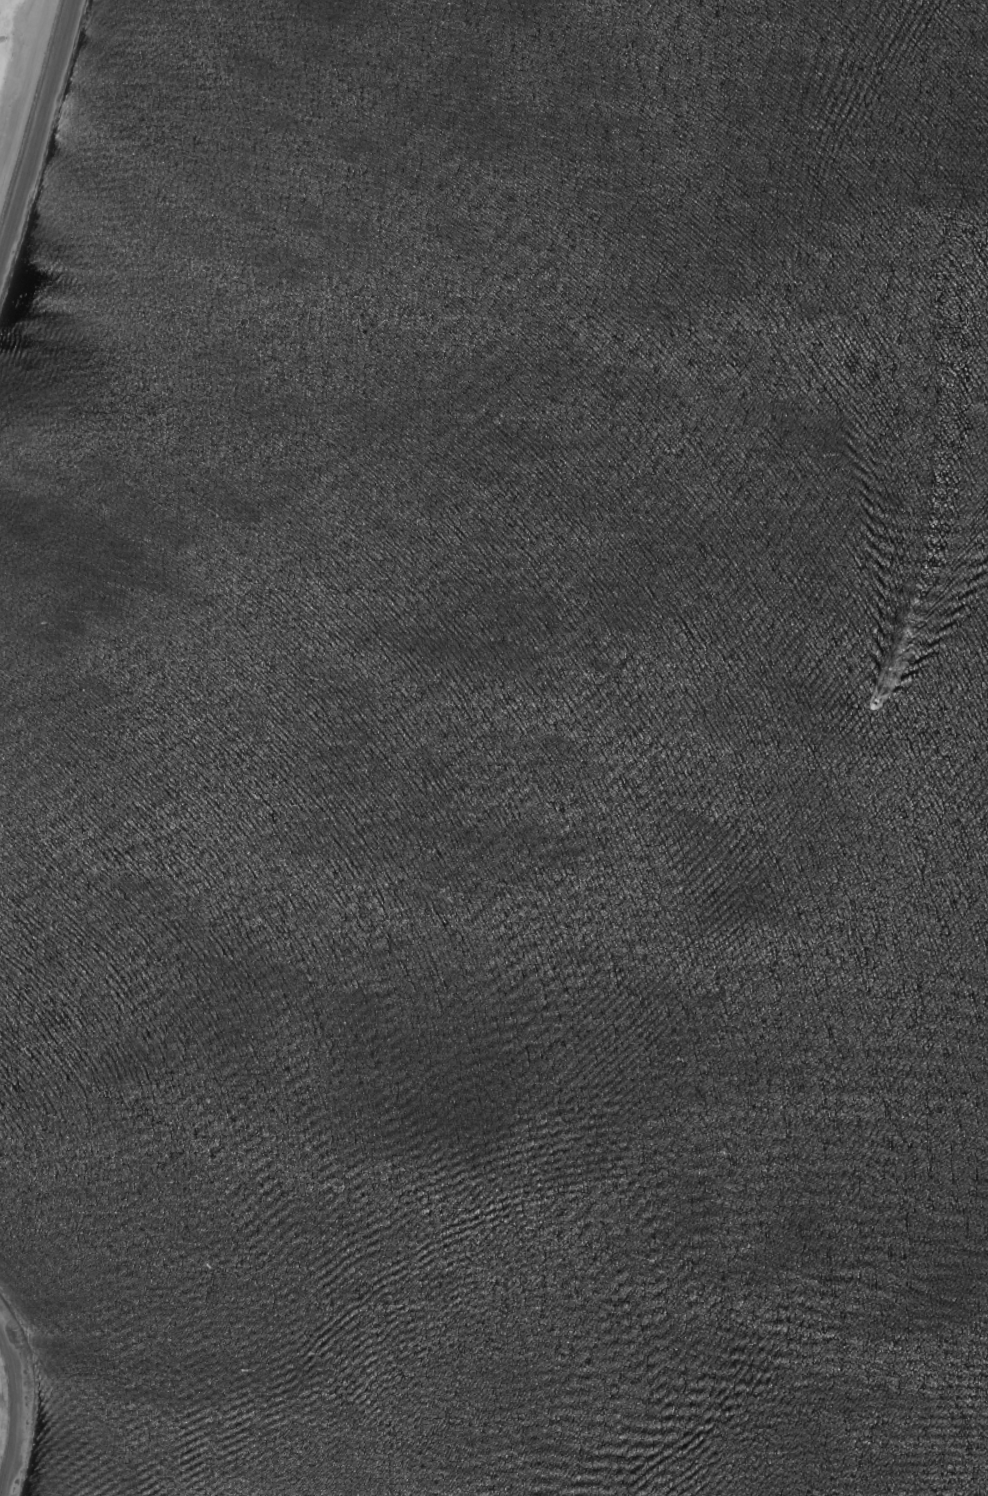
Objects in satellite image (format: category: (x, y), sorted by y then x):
park: (11, 39)
park: (6, 1417)

